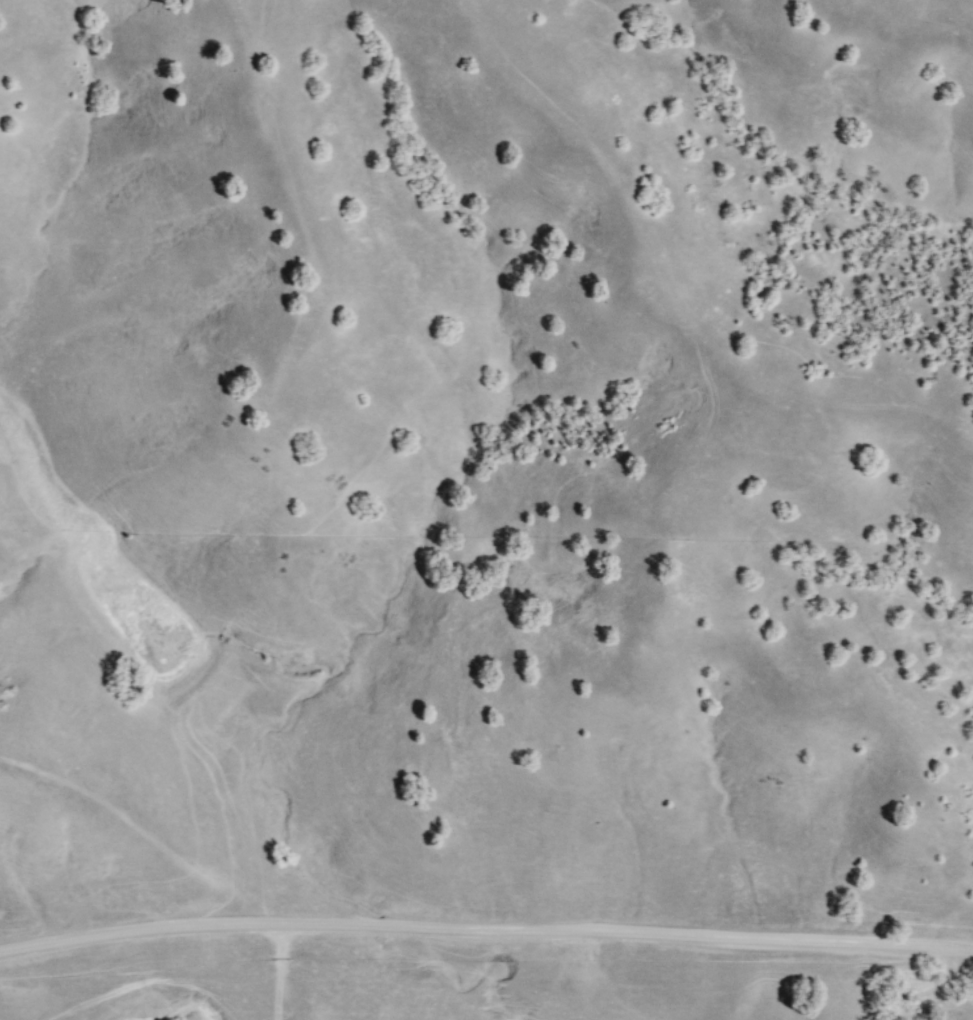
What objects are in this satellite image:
road: (485, 929)

